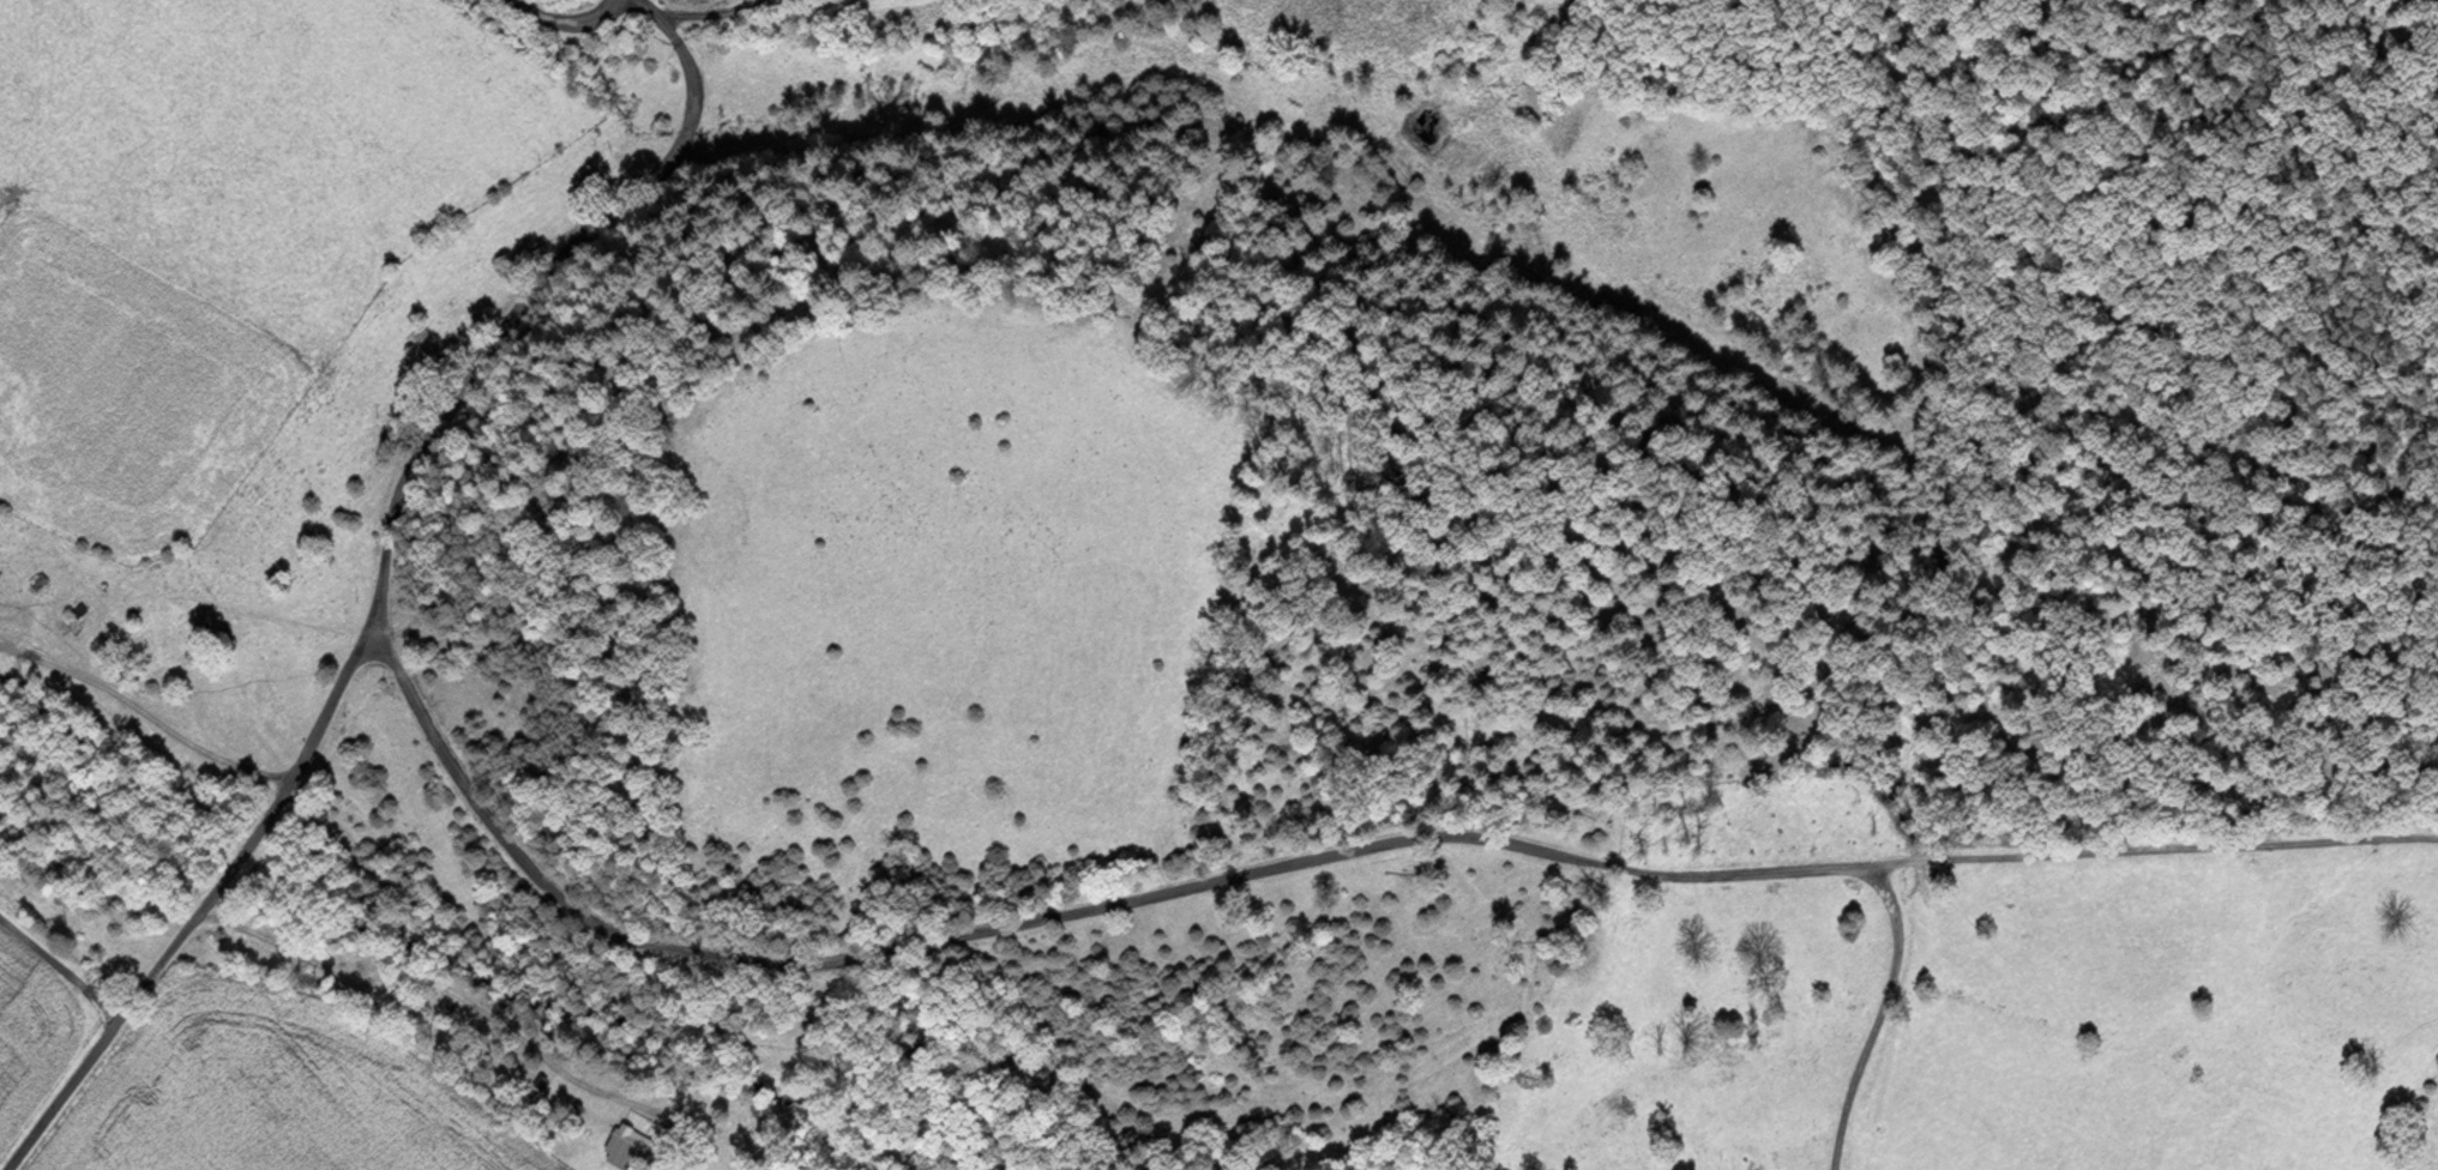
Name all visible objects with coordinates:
road: (716, 17)
road: (562, 20)
road: (380, 579)
road: (144, 712)
road: (1320, 856)
road: (59, 965)
road: (431, 997)
road: (1876, 1017)
building: (630, 1139)

